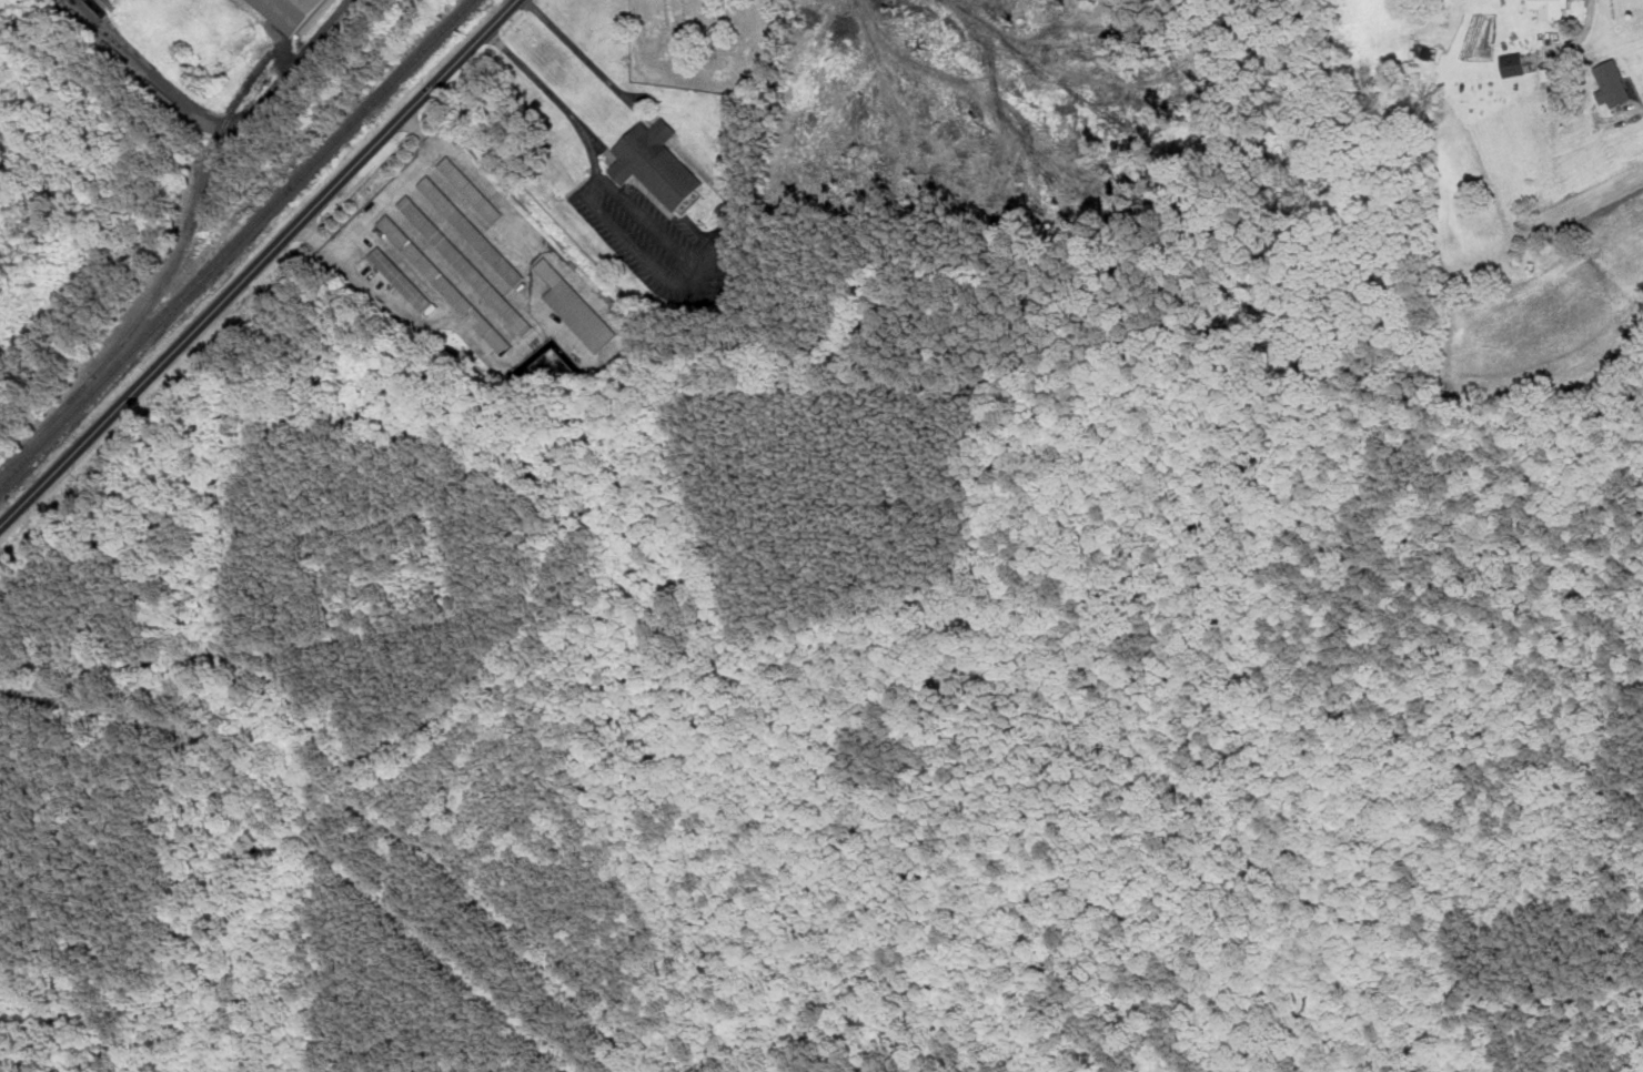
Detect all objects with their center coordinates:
building: (1552, 8)
building: (300, 12)
road: (1583, 36)
road: (572, 47)
building: (1429, 51)
building: (1514, 63)
building: (1613, 82)
road: (562, 102)
road: (632, 104)
road: (1637, 110)
road: (223, 119)
road: (648, 121)
road: (661, 132)
building: (654, 164)
road: (604, 178)
railway: (268, 181)
road: (713, 181)
building: (471, 190)
road: (392, 196)
railway: (195, 205)
building: (723, 208)
building: (472, 231)
road: (664, 233)
railway: (236, 242)
road: (259, 264)
building: (465, 264)
road: (669, 276)
building: (402, 277)
building: (446, 284)
building: (576, 307)
railway: (53, 417)
road: (1132, 464)
road: (1200, 517)
road: (350, 781)
park: (785, 868)
road: (1620, 1010)

